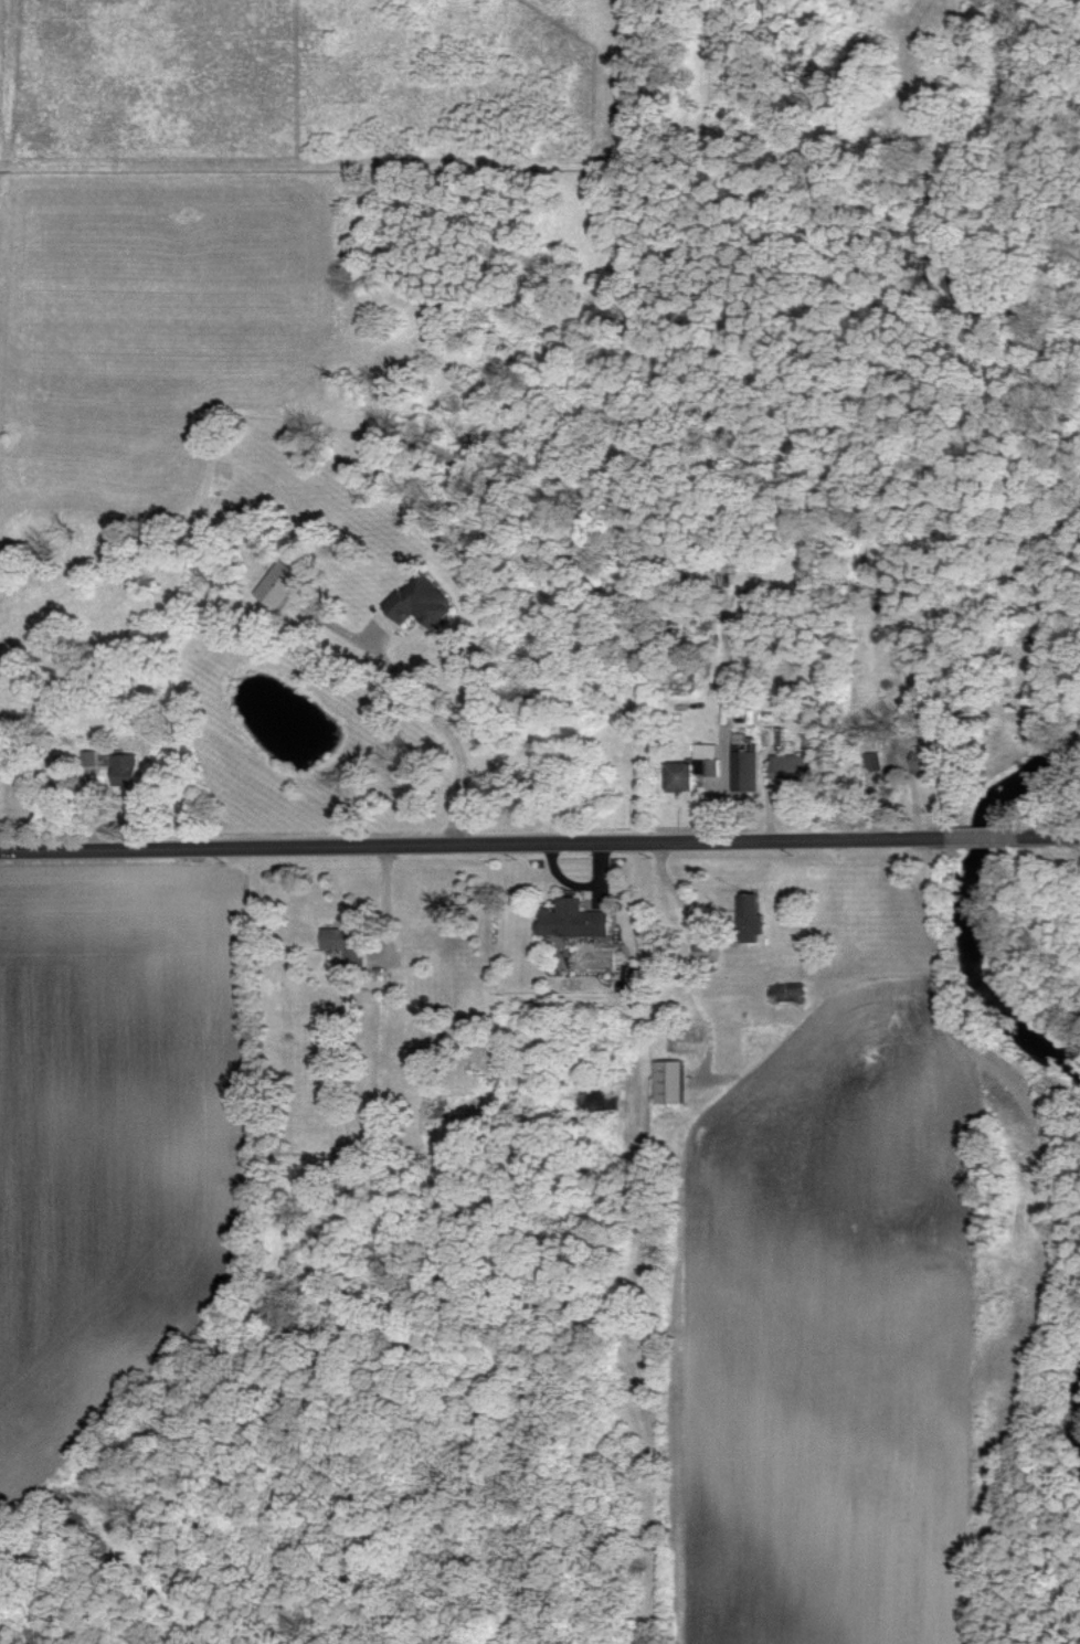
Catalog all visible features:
building: (276, 583)
building: (420, 601)
road: (444, 726)
building: (773, 735)
building: (88, 756)
building: (924, 761)
building: (791, 765)
building: (692, 766)
building: (126, 768)
building: (744, 770)
road: (539, 842)
building: (753, 911)
building: (573, 918)
building: (343, 942)
building: (708, 950)
building: (777, 991)
building: (670, 1080)

